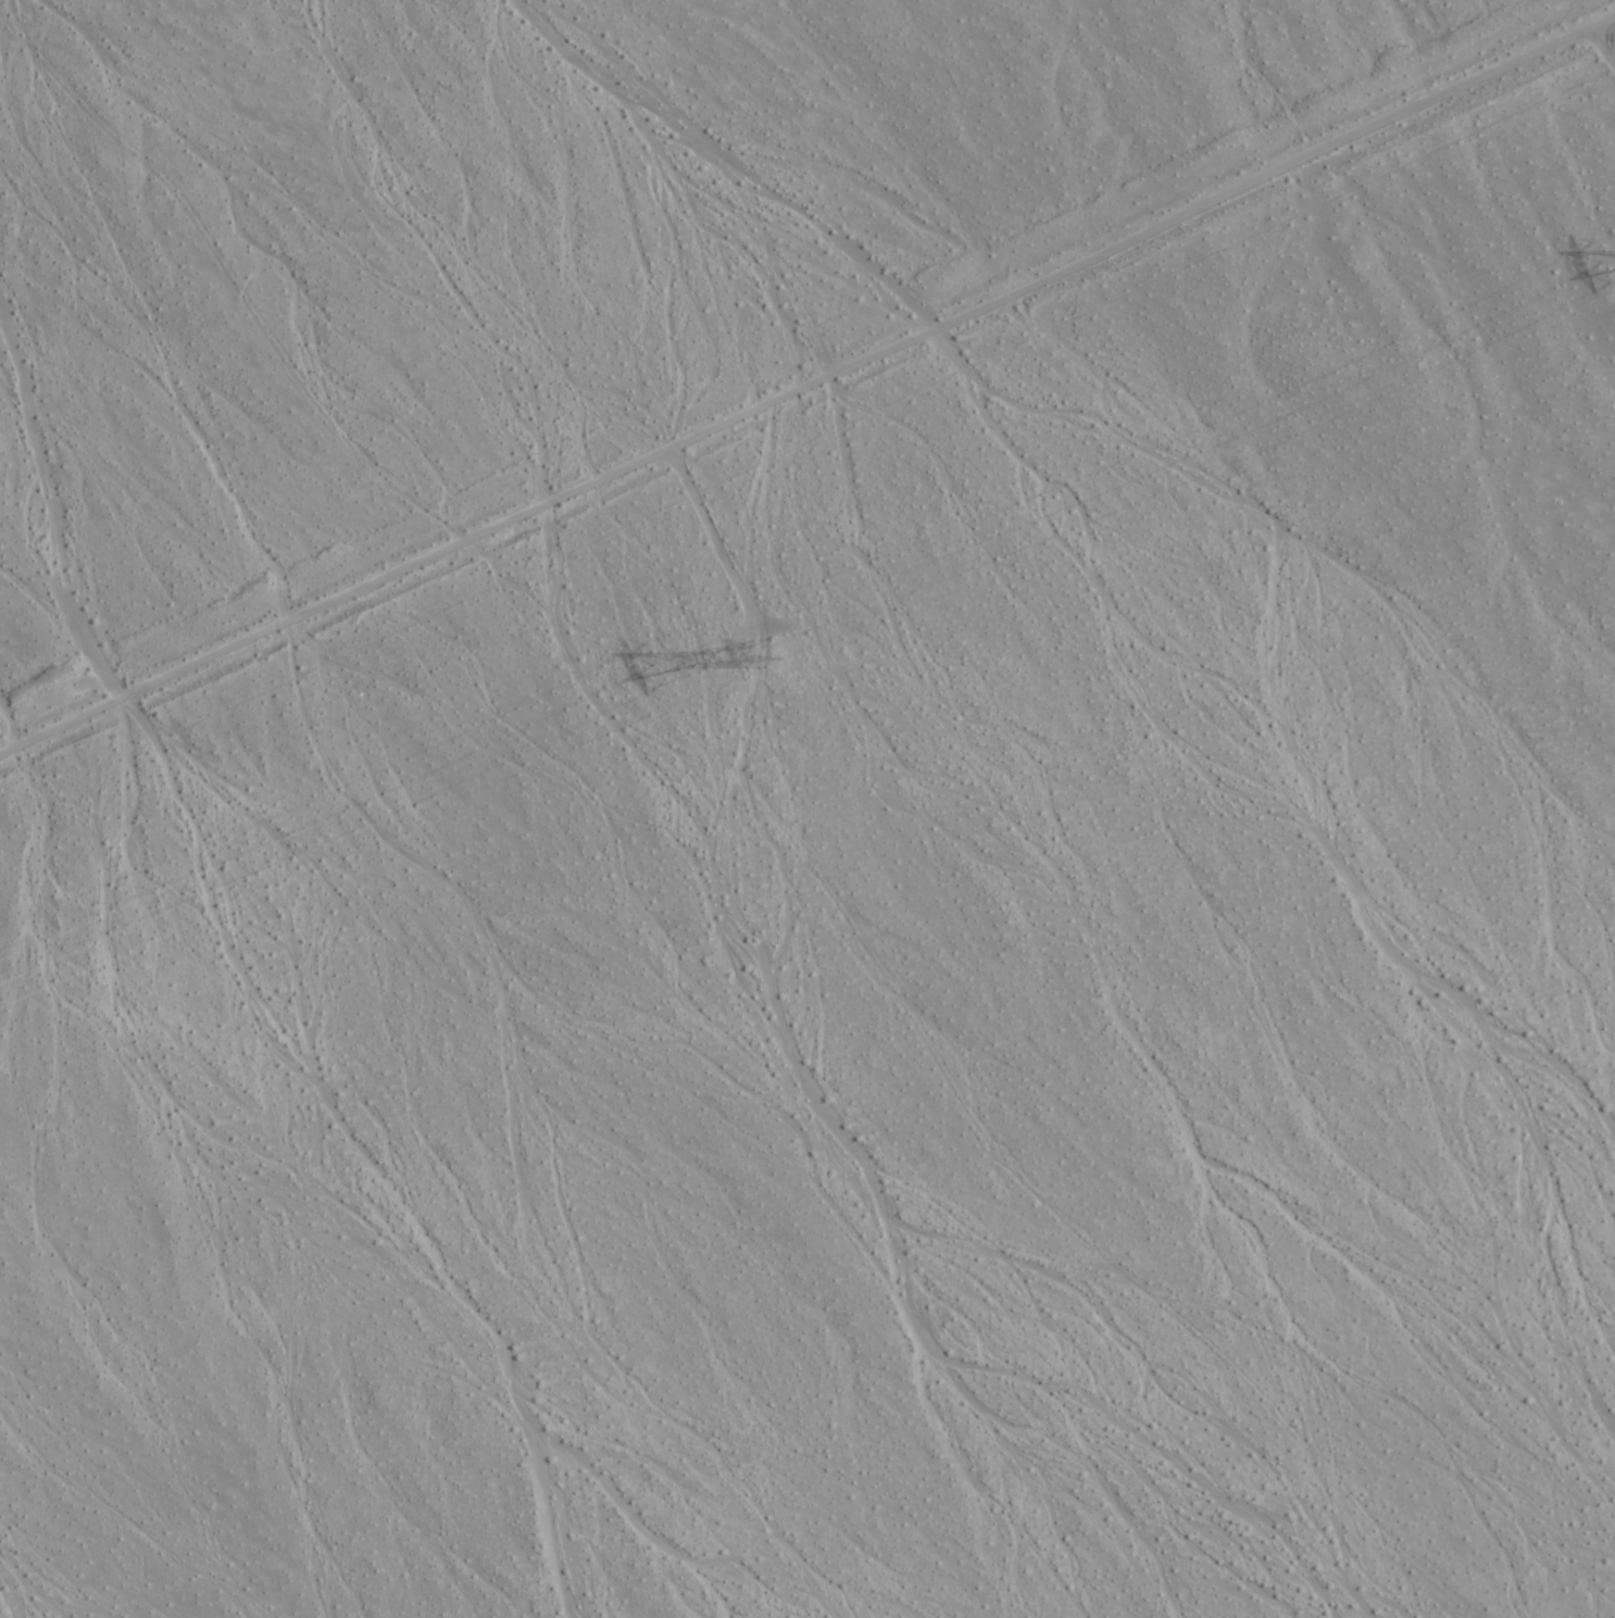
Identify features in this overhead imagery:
road: (806, 363)
power tower: (784, 650)

